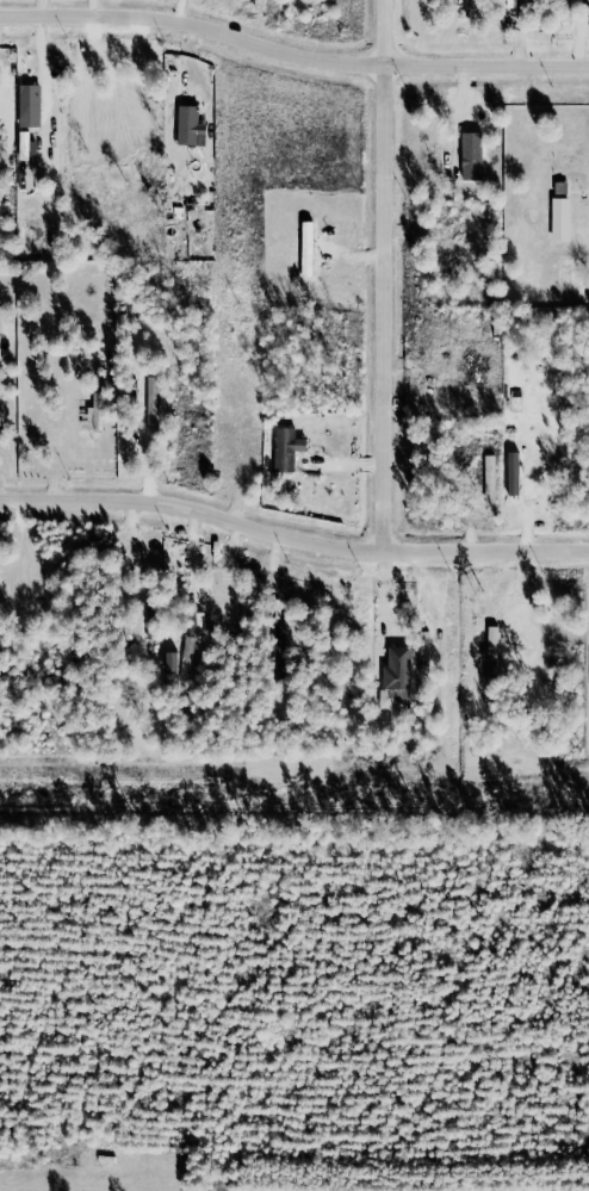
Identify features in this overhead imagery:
building: (514, 4)
building: (569, 8)
road: (293, 52)
building: (33, 100)
building: (193, 122)
building: (564, 213)
building: (311, 243)
road: (392, 279)
building: (1, 342)
building: (100, 409)
building: (290, 443)
building: (516, 469)
building: (494, 476)
road: (292, 538)
building: (199, 616)
building: (154, 622)
building: (281, 641)
building: (495, 650)
building: (184, 657)
building: (399, 663)

